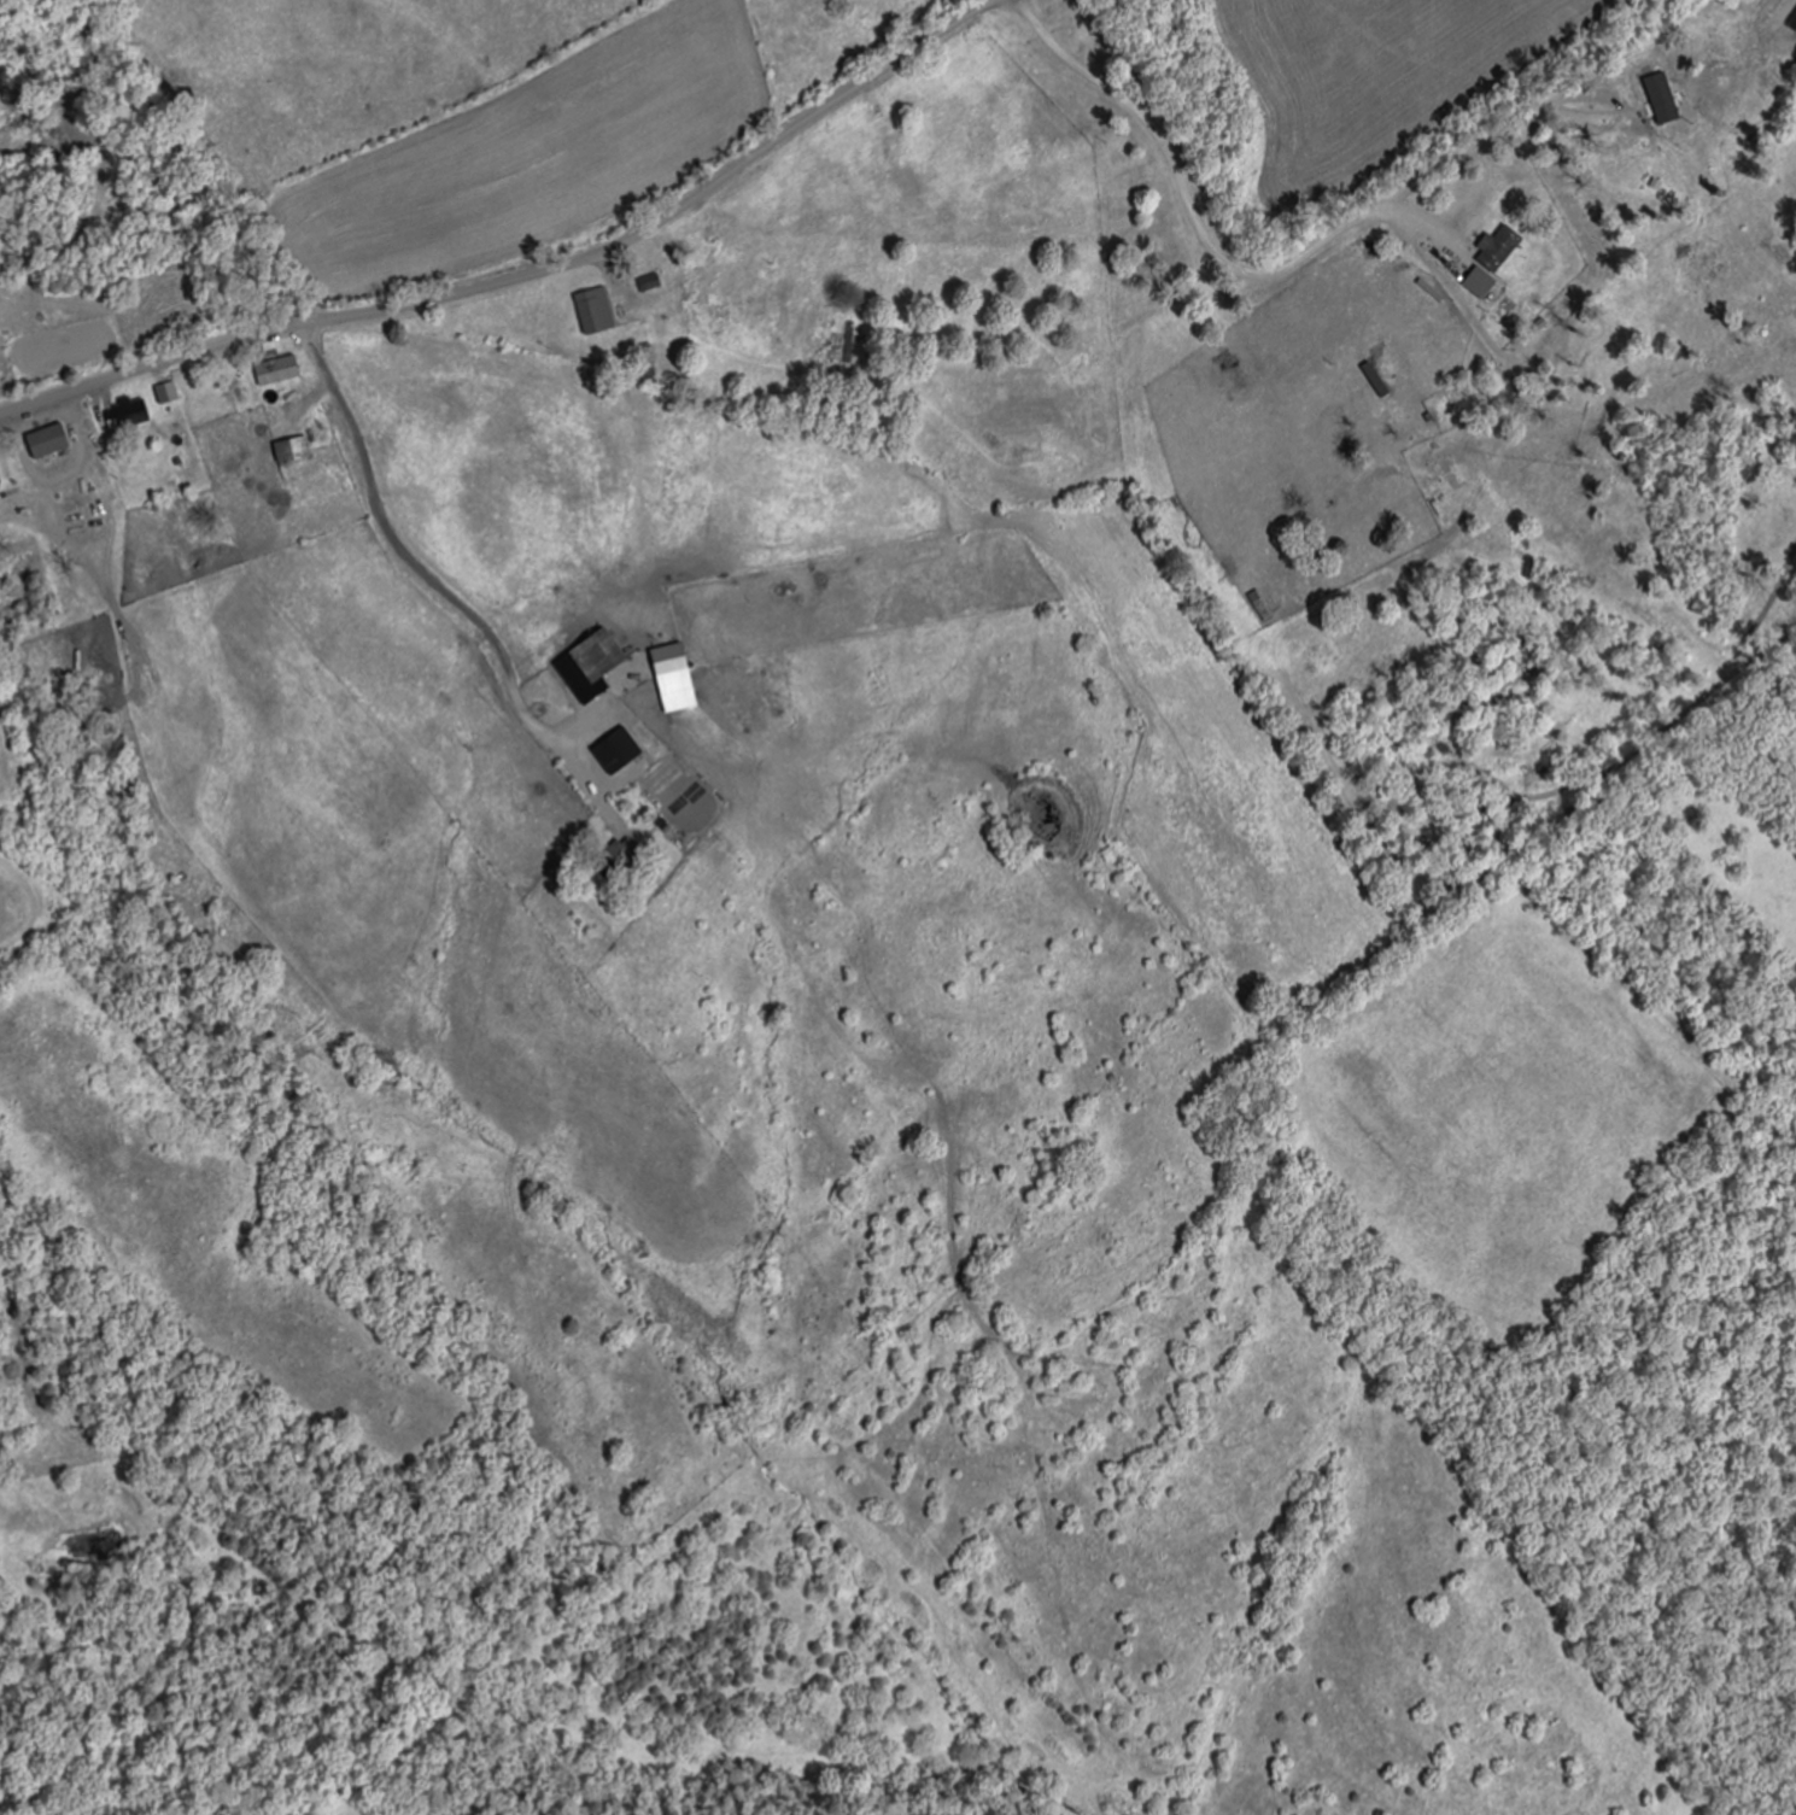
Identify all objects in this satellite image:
building: (1503, 248)
road: (522, 274)
building: (1481, 282)
building: (650, 283)
building: (597, 311)
building: (830, 338)
building: (281, 370)
building: (171, 394)
building: (130, 415)
building: (53, 443)
building: (297, 451)
building: (1, 480)
road: (450, 596)
building: (1260, 605)
building: (603, 656)
building: (674, 830)
building: (631, 860)

